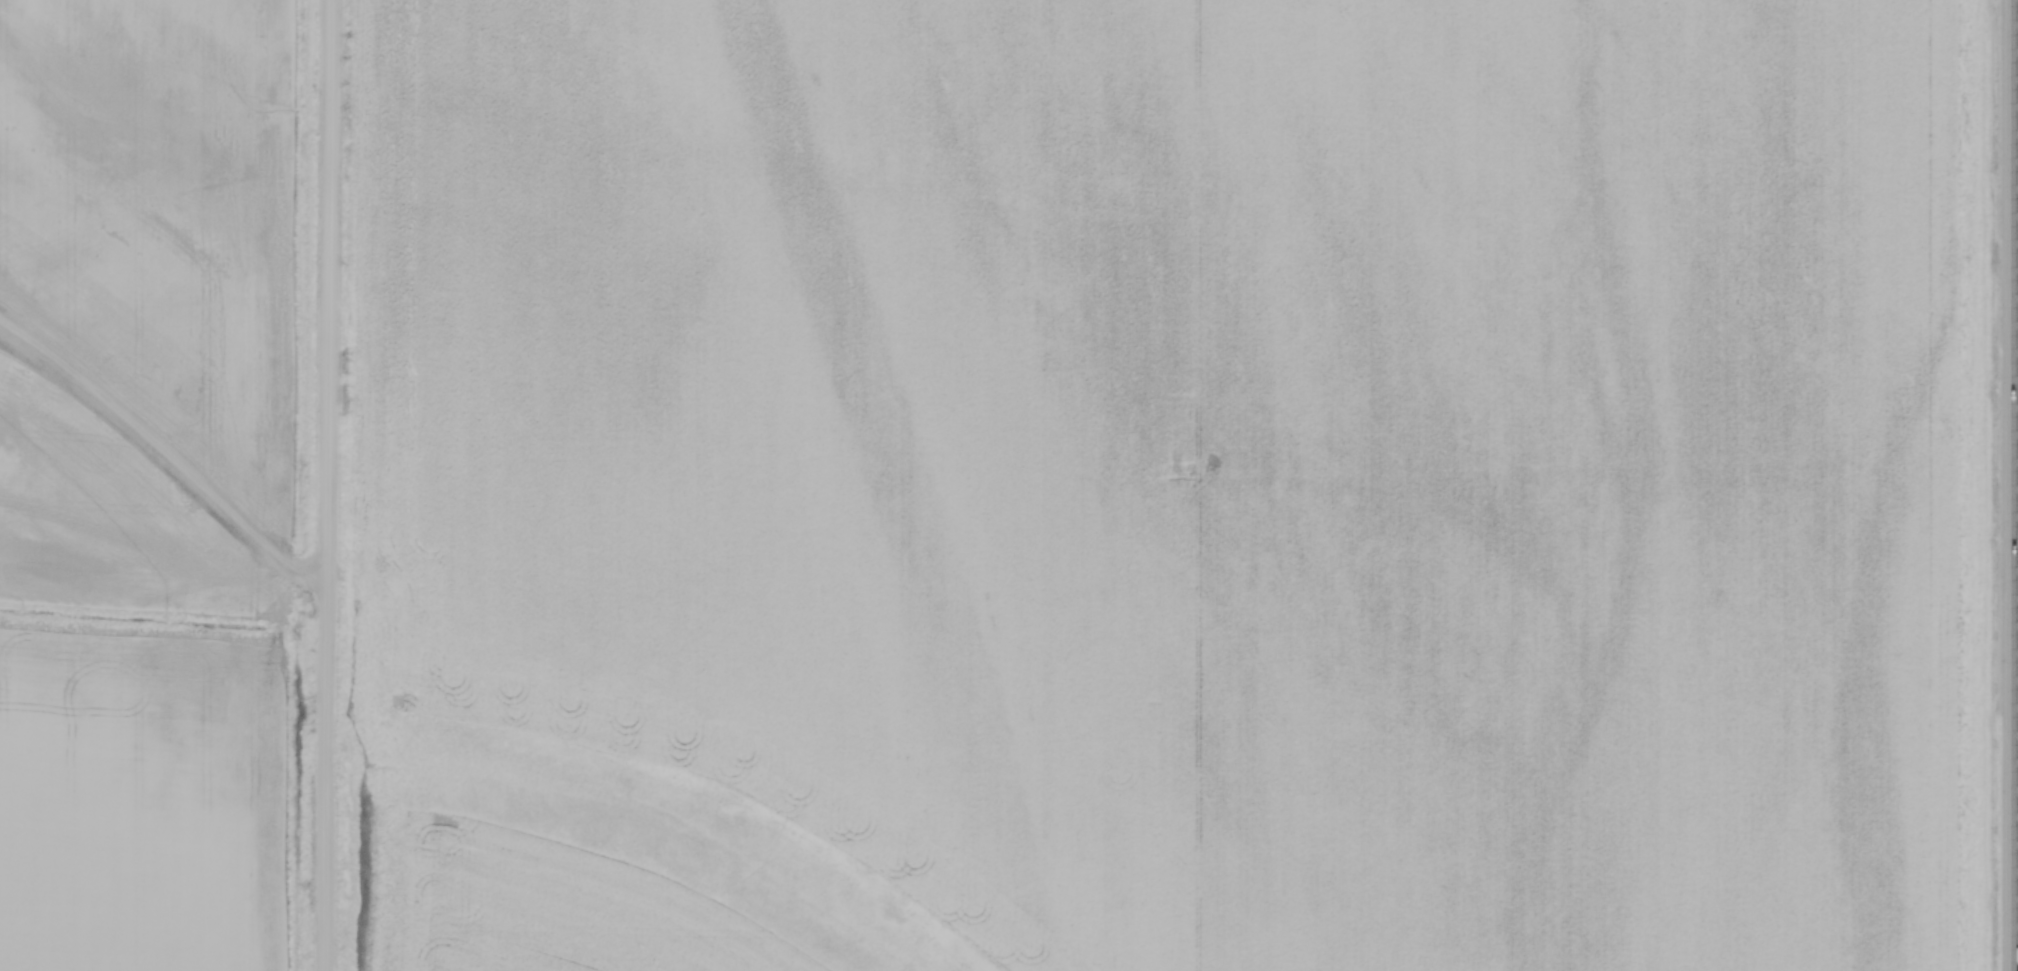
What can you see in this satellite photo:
road: (2017, 335)
road: (326, 485)
crop: (1143, 485)

